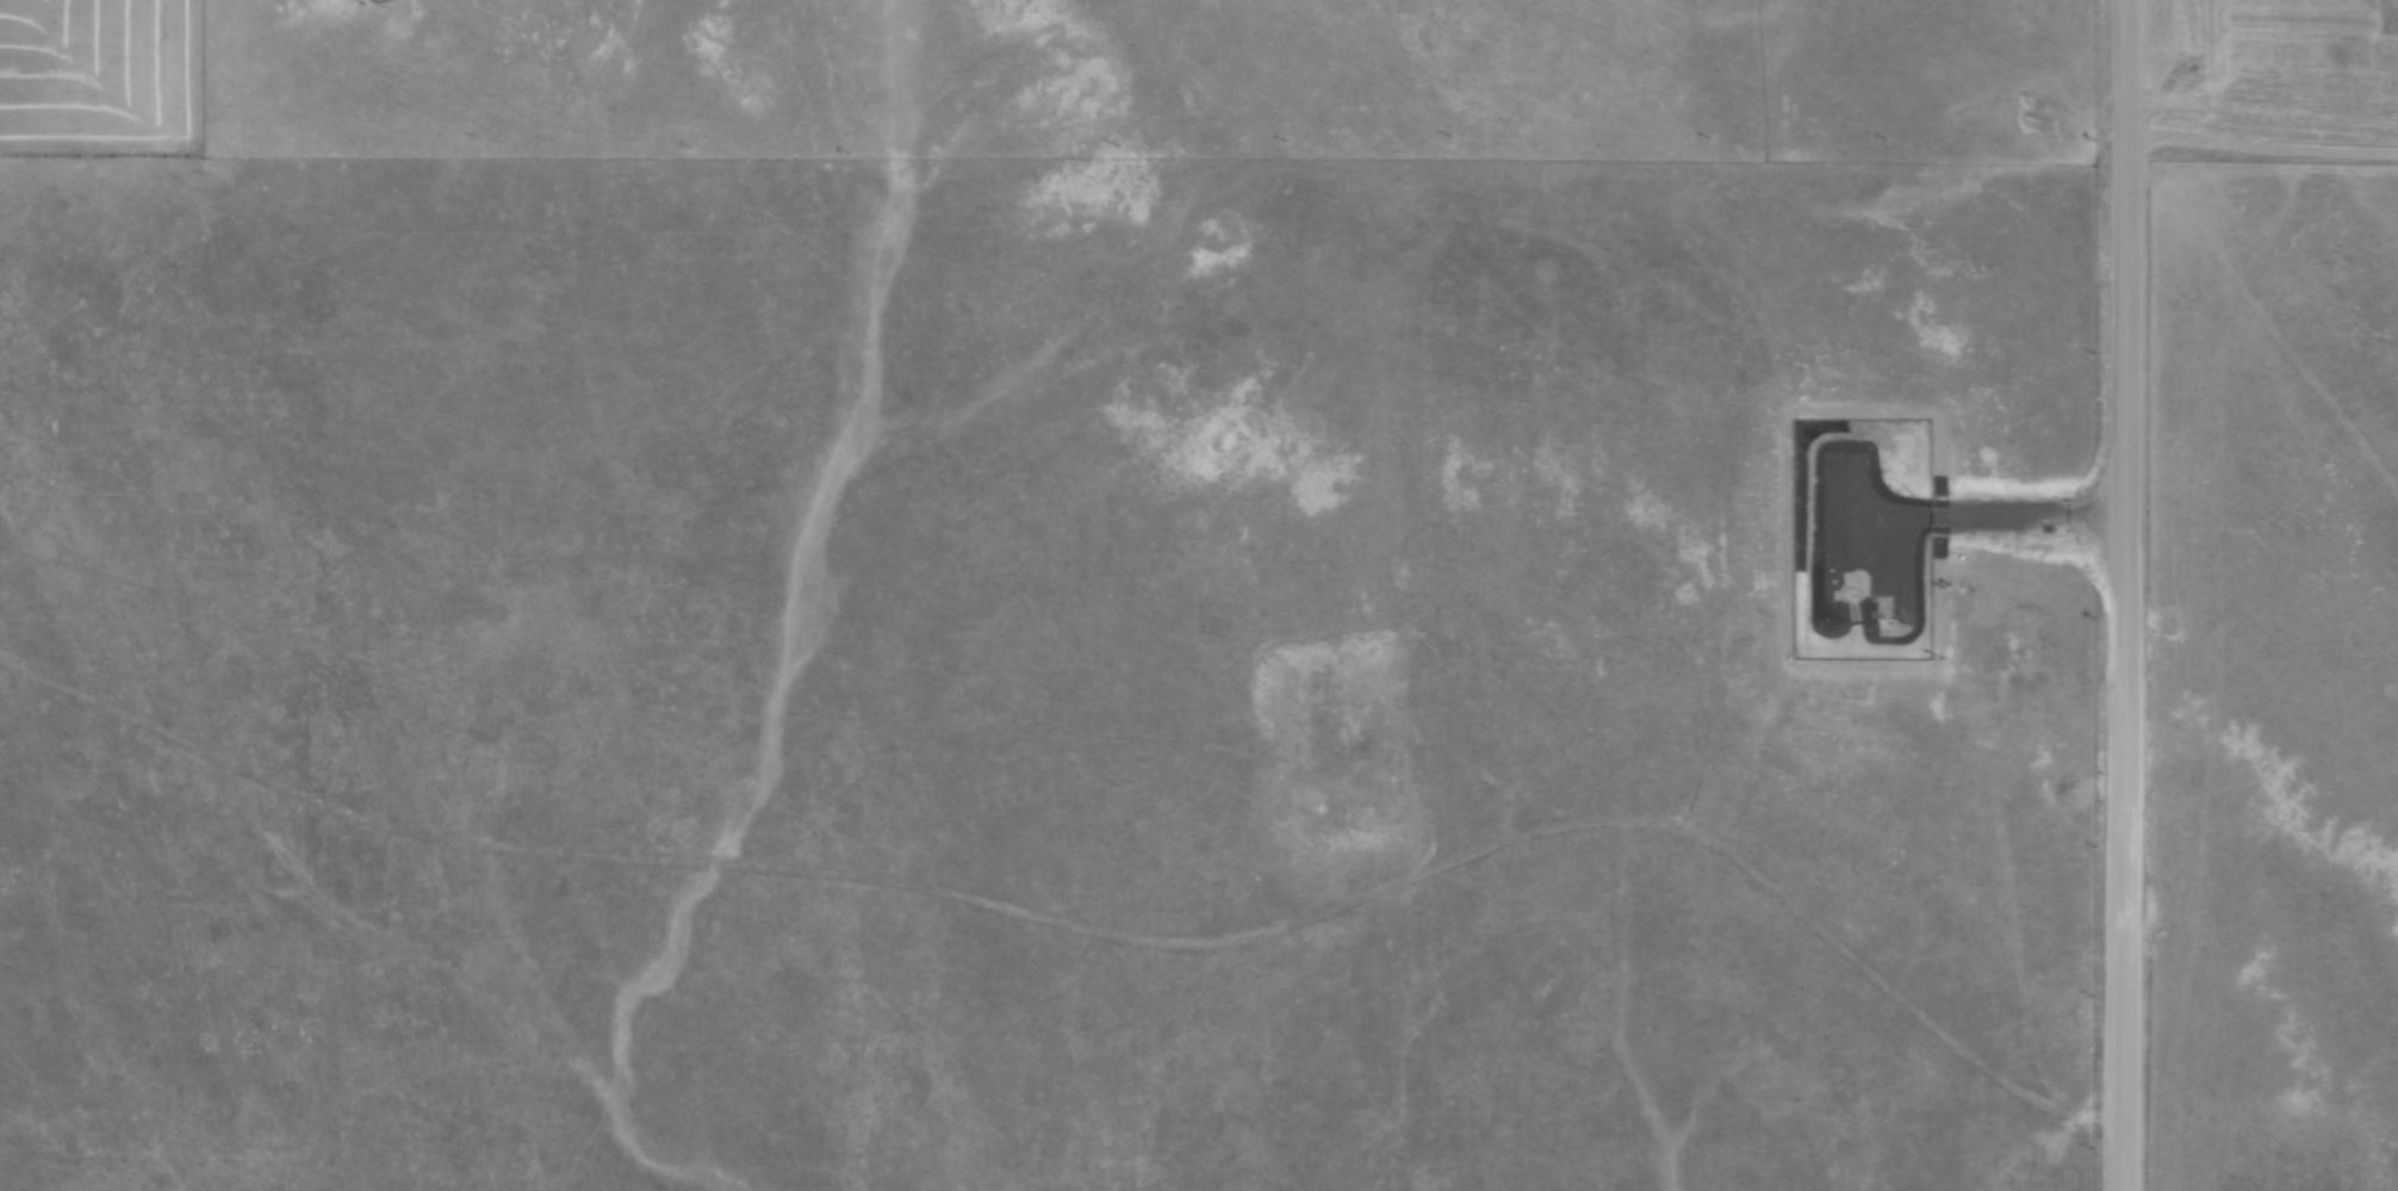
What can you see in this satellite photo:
road: (2265, 130)
road: (2033, 516)
road: (2132, 595)

